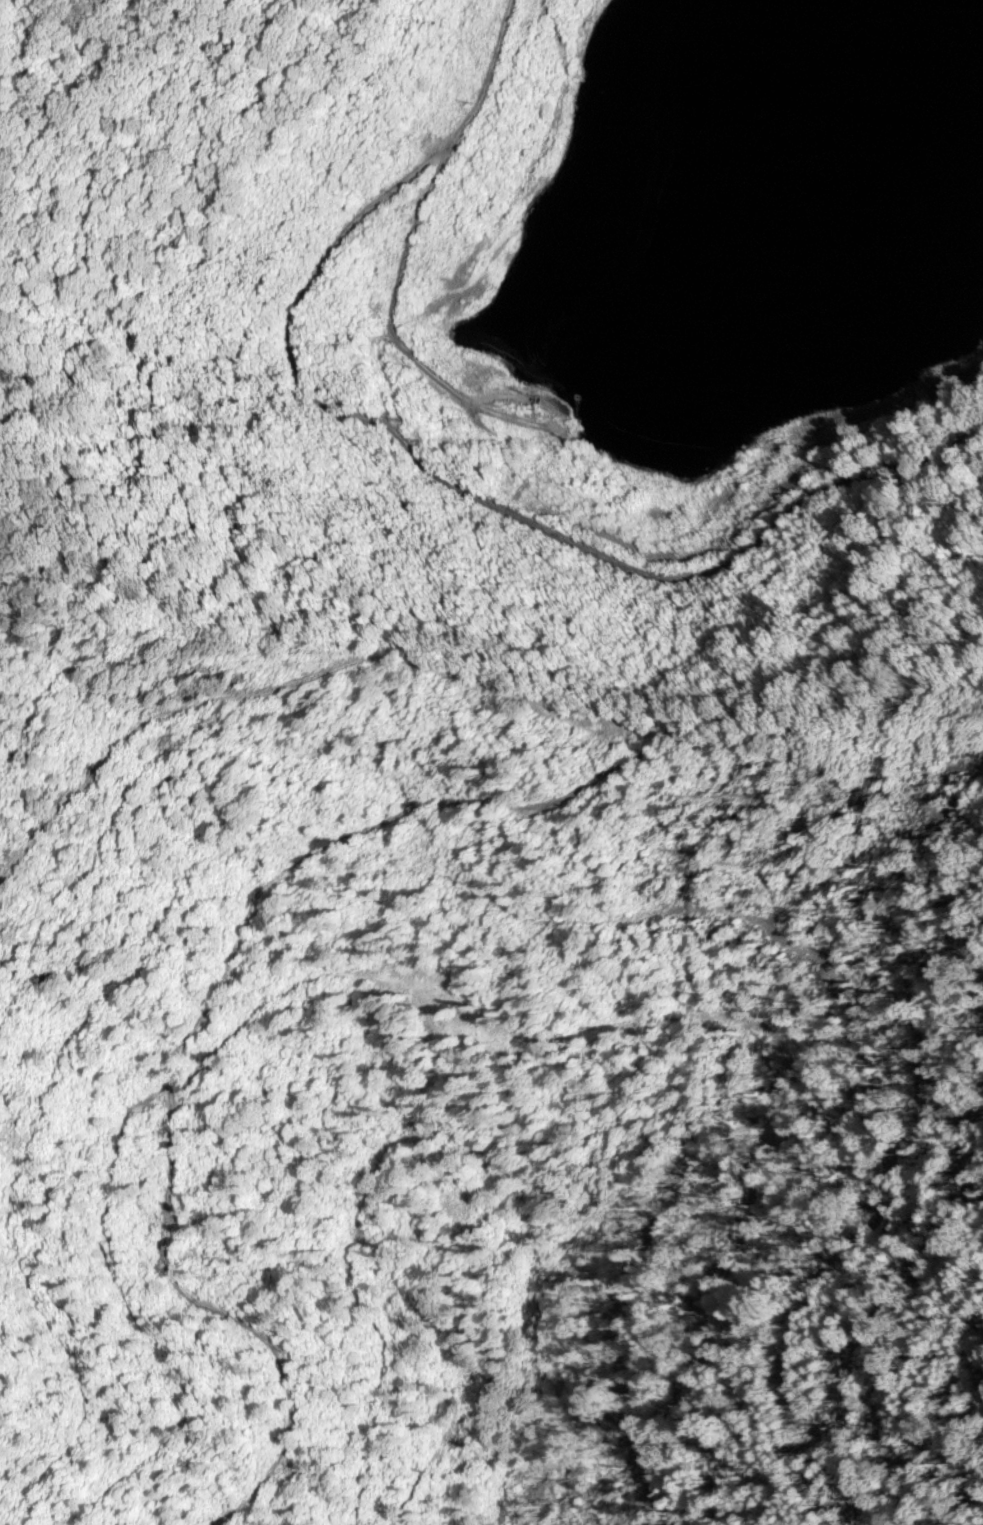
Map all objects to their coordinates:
quarry: (712, 249)

